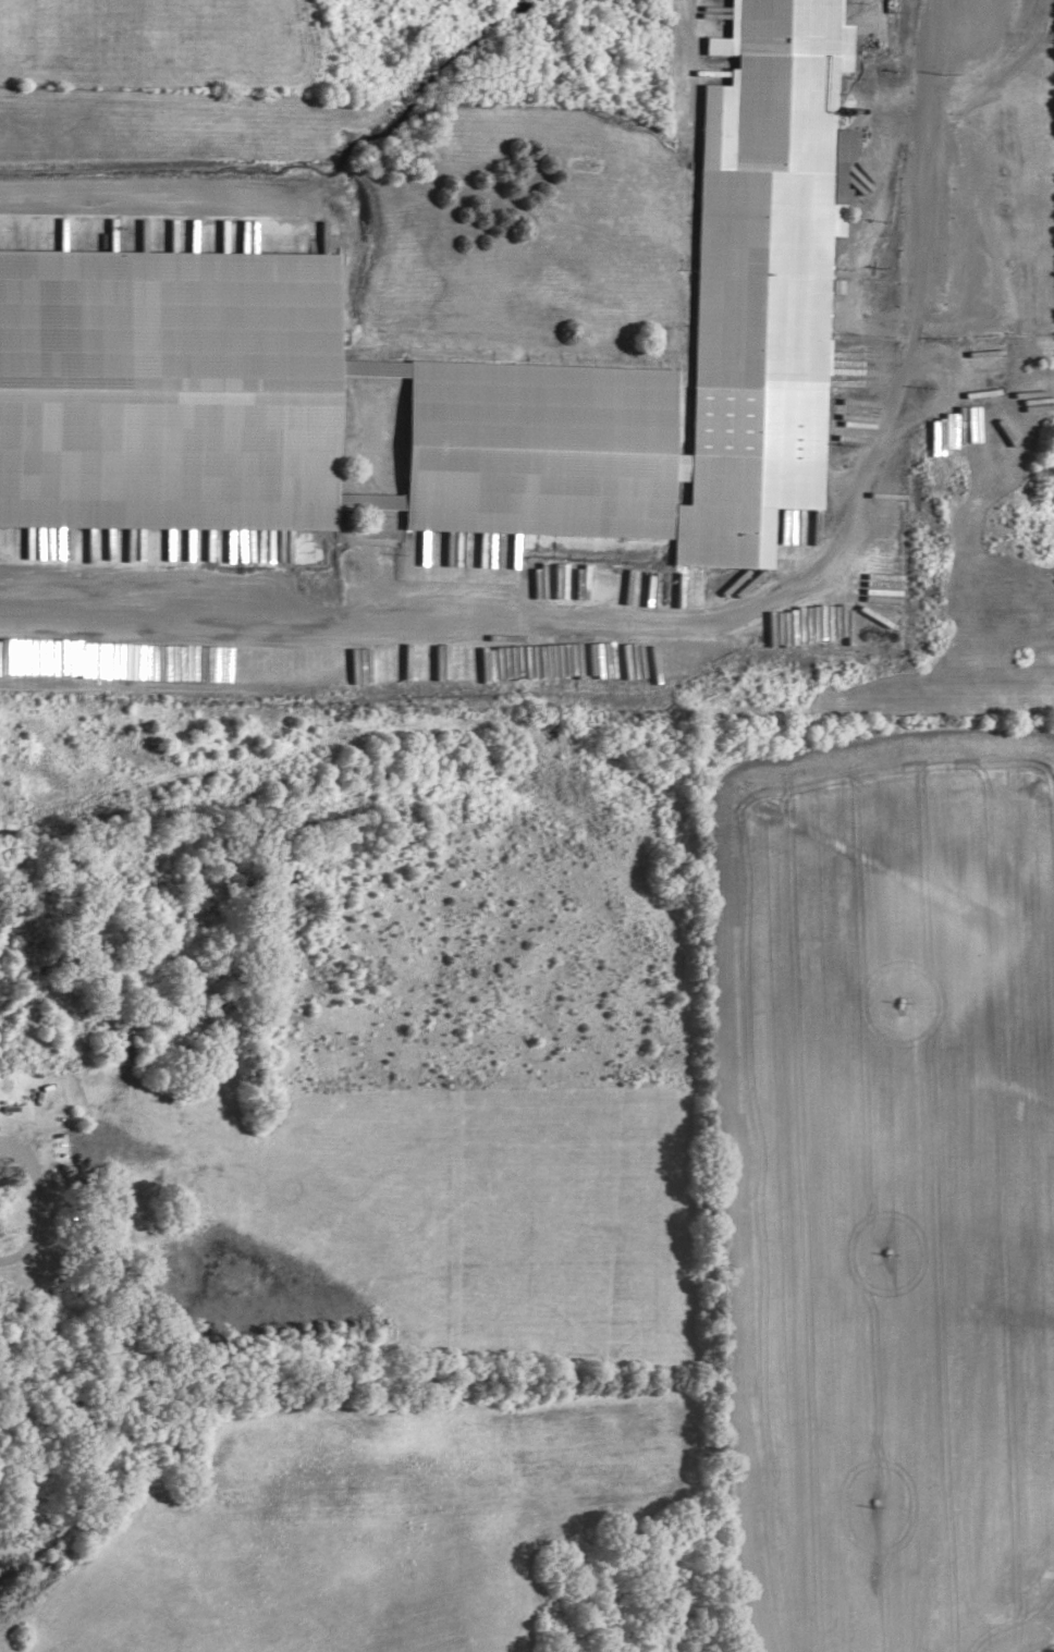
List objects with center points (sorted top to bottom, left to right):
building: (452, 365)
building: (28, 750)

